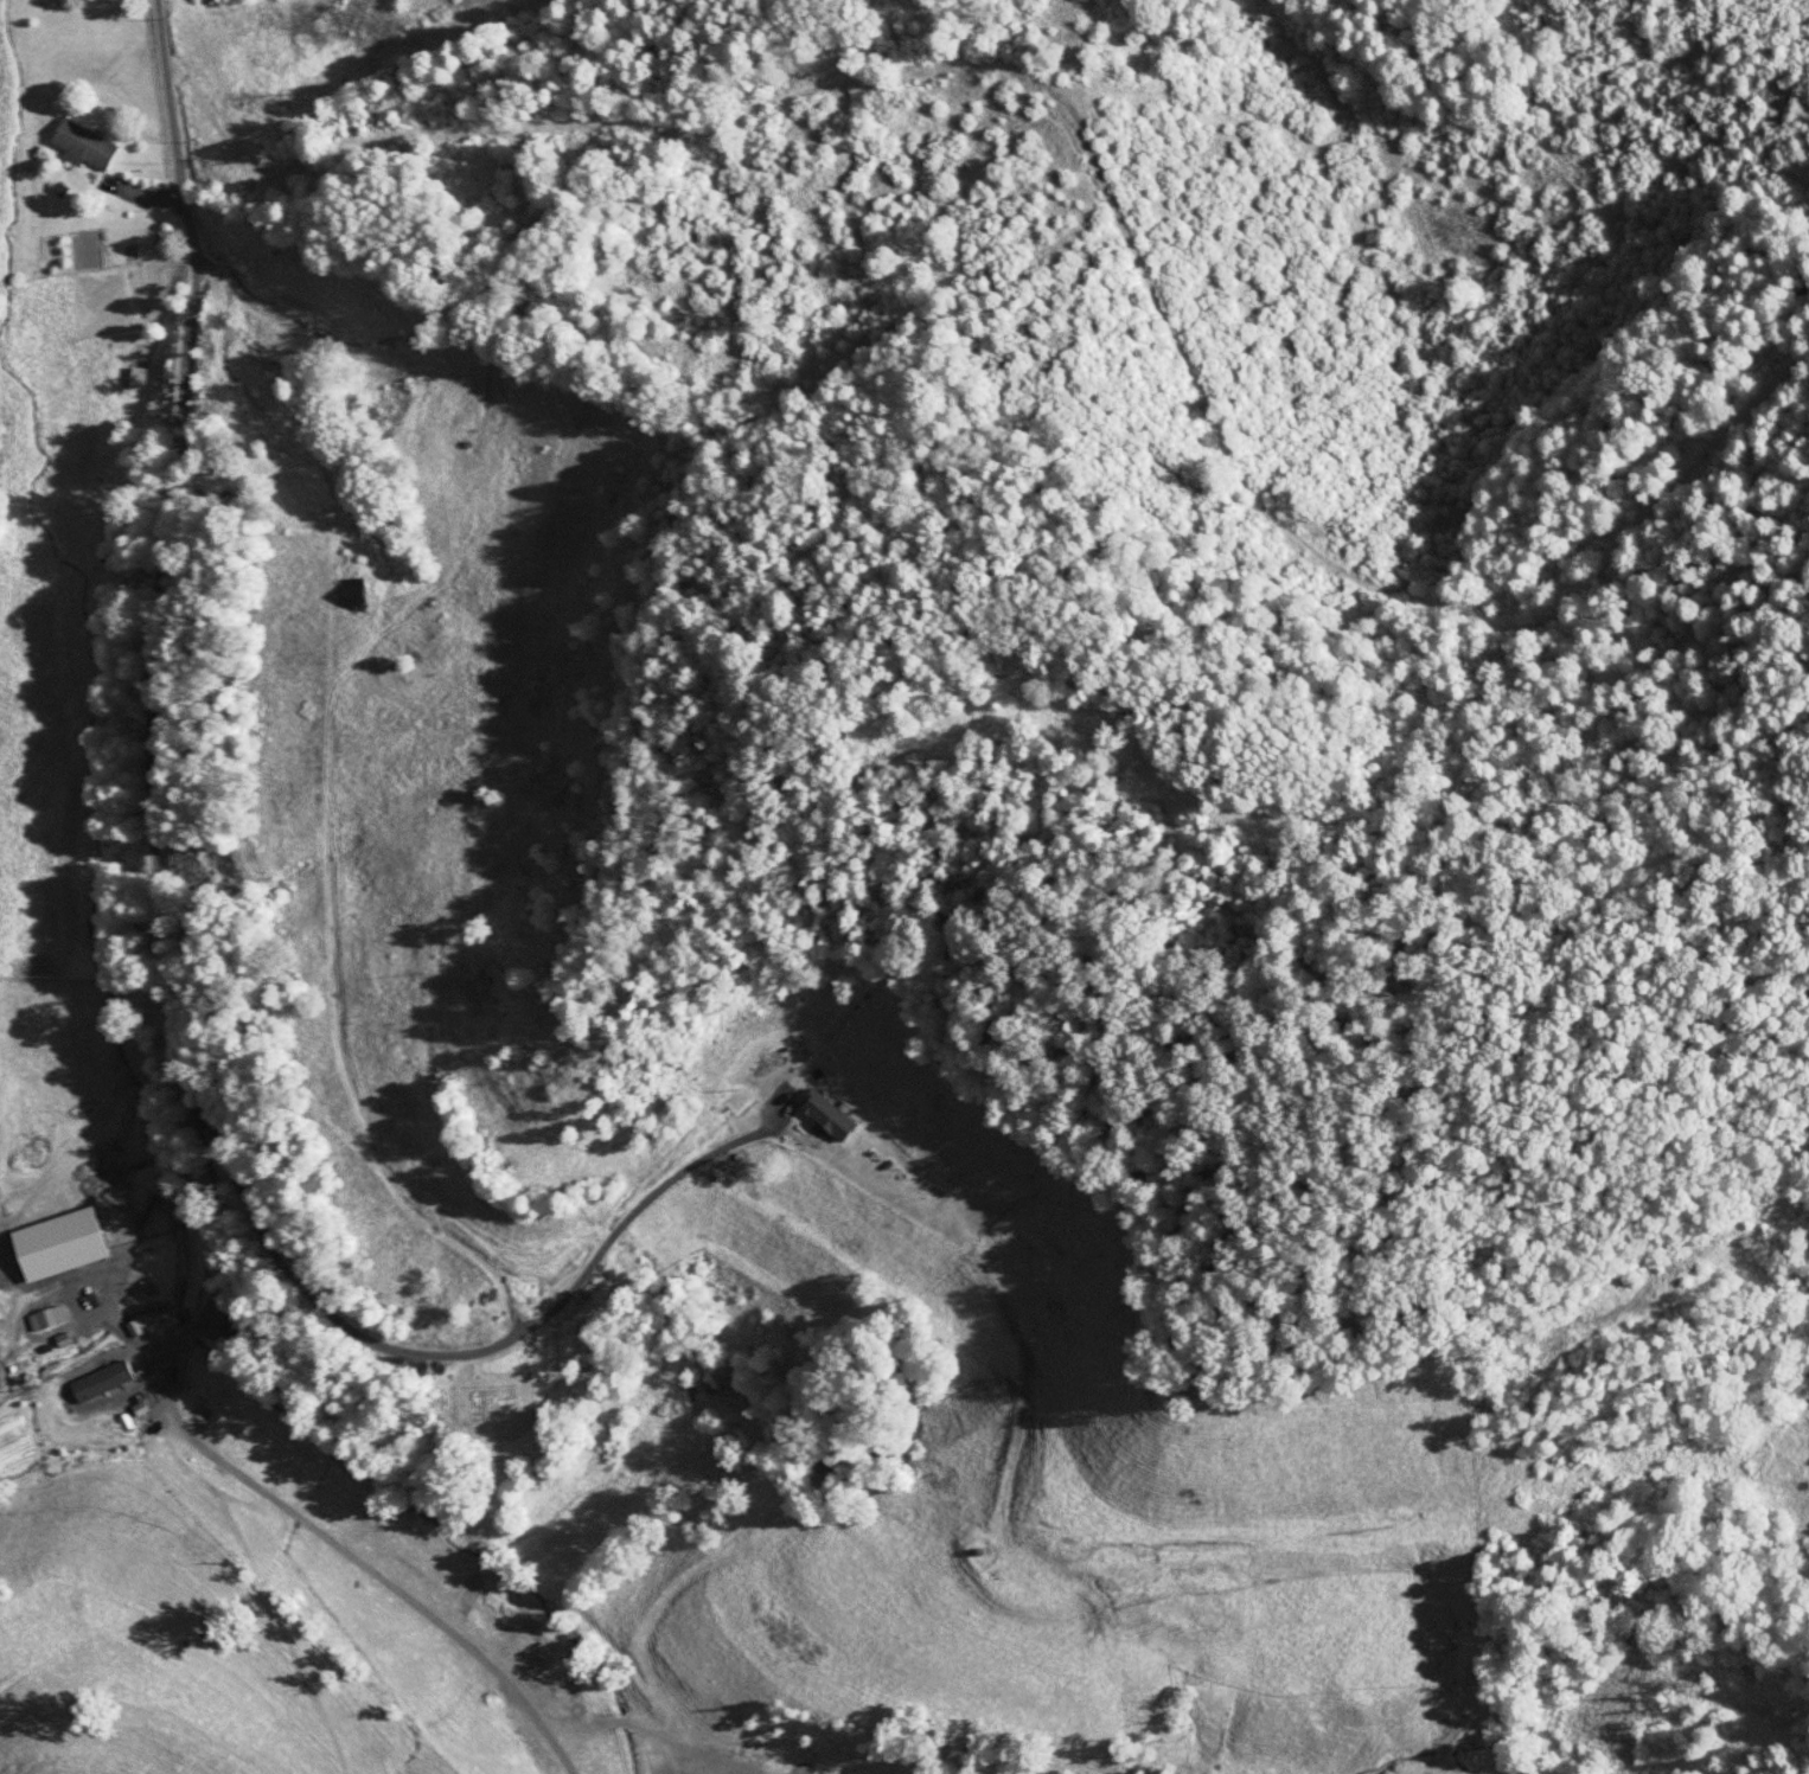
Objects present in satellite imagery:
road: (768, 102)
building: (84, 147)
road: (121, 736)
building: (34, 1261)
building: (49, 1318)
building: (0, 1356)
building: (120, 1379)

